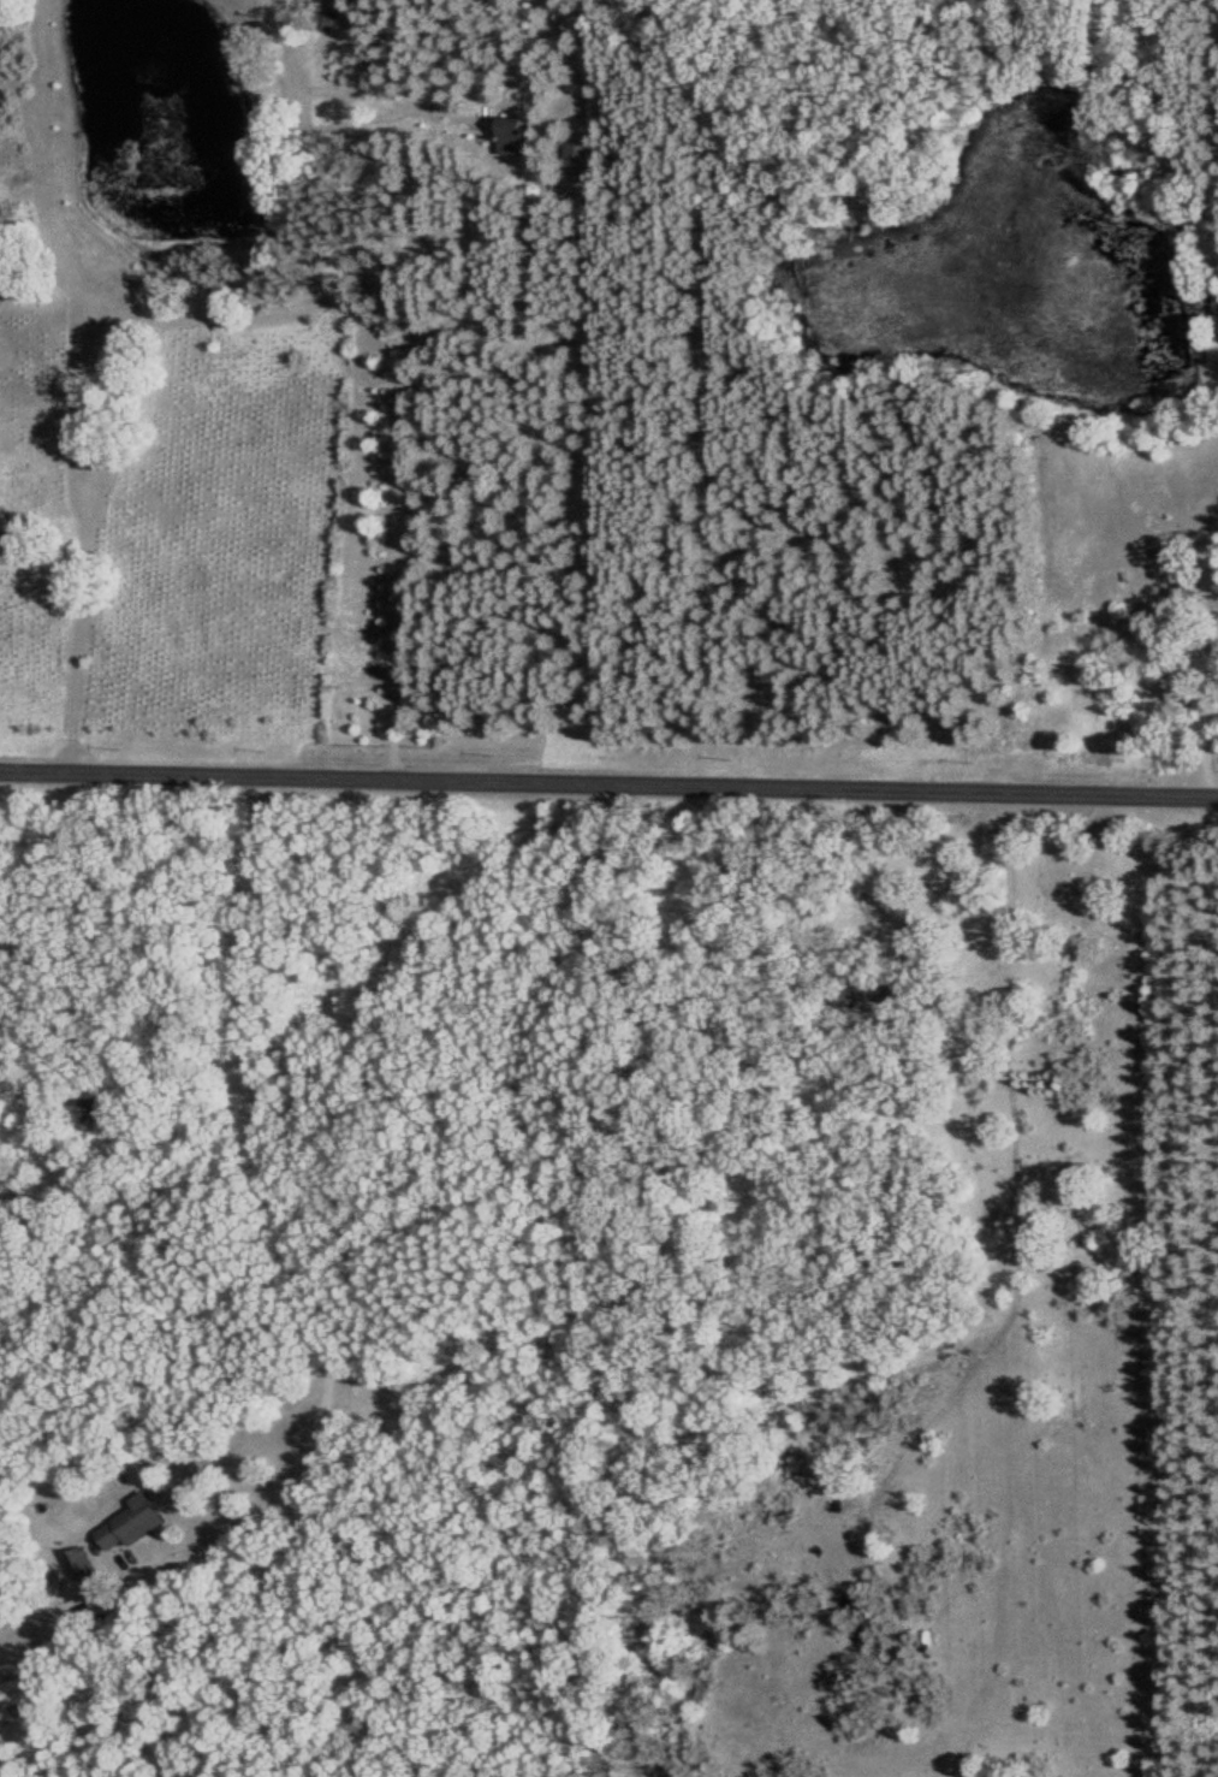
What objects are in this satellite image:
building: (519, 135)
building: (581, 153)
building: (30, 488)
building: (1194, 586)
building: (1146, 626)
road: (608, 790)
building: (885, 989)
building: (141, 1520)
building: (19, 1695)

